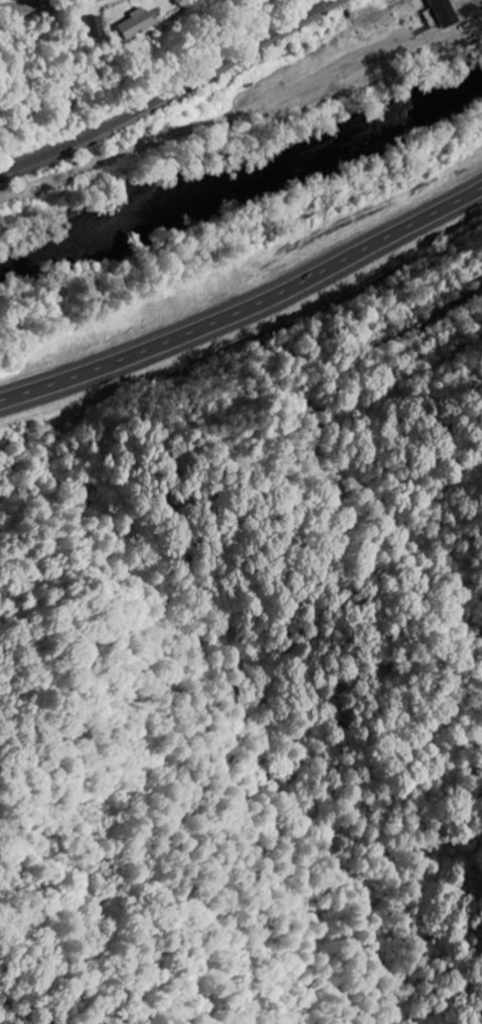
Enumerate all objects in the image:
building: (175, 2)
road: (36, 5)
building: (443, 12)
building: (131, 22)
building: (91, 25)
railway: (168, 93)
road: (199, 123)
river: (243, 174)
road: (246, 312)

